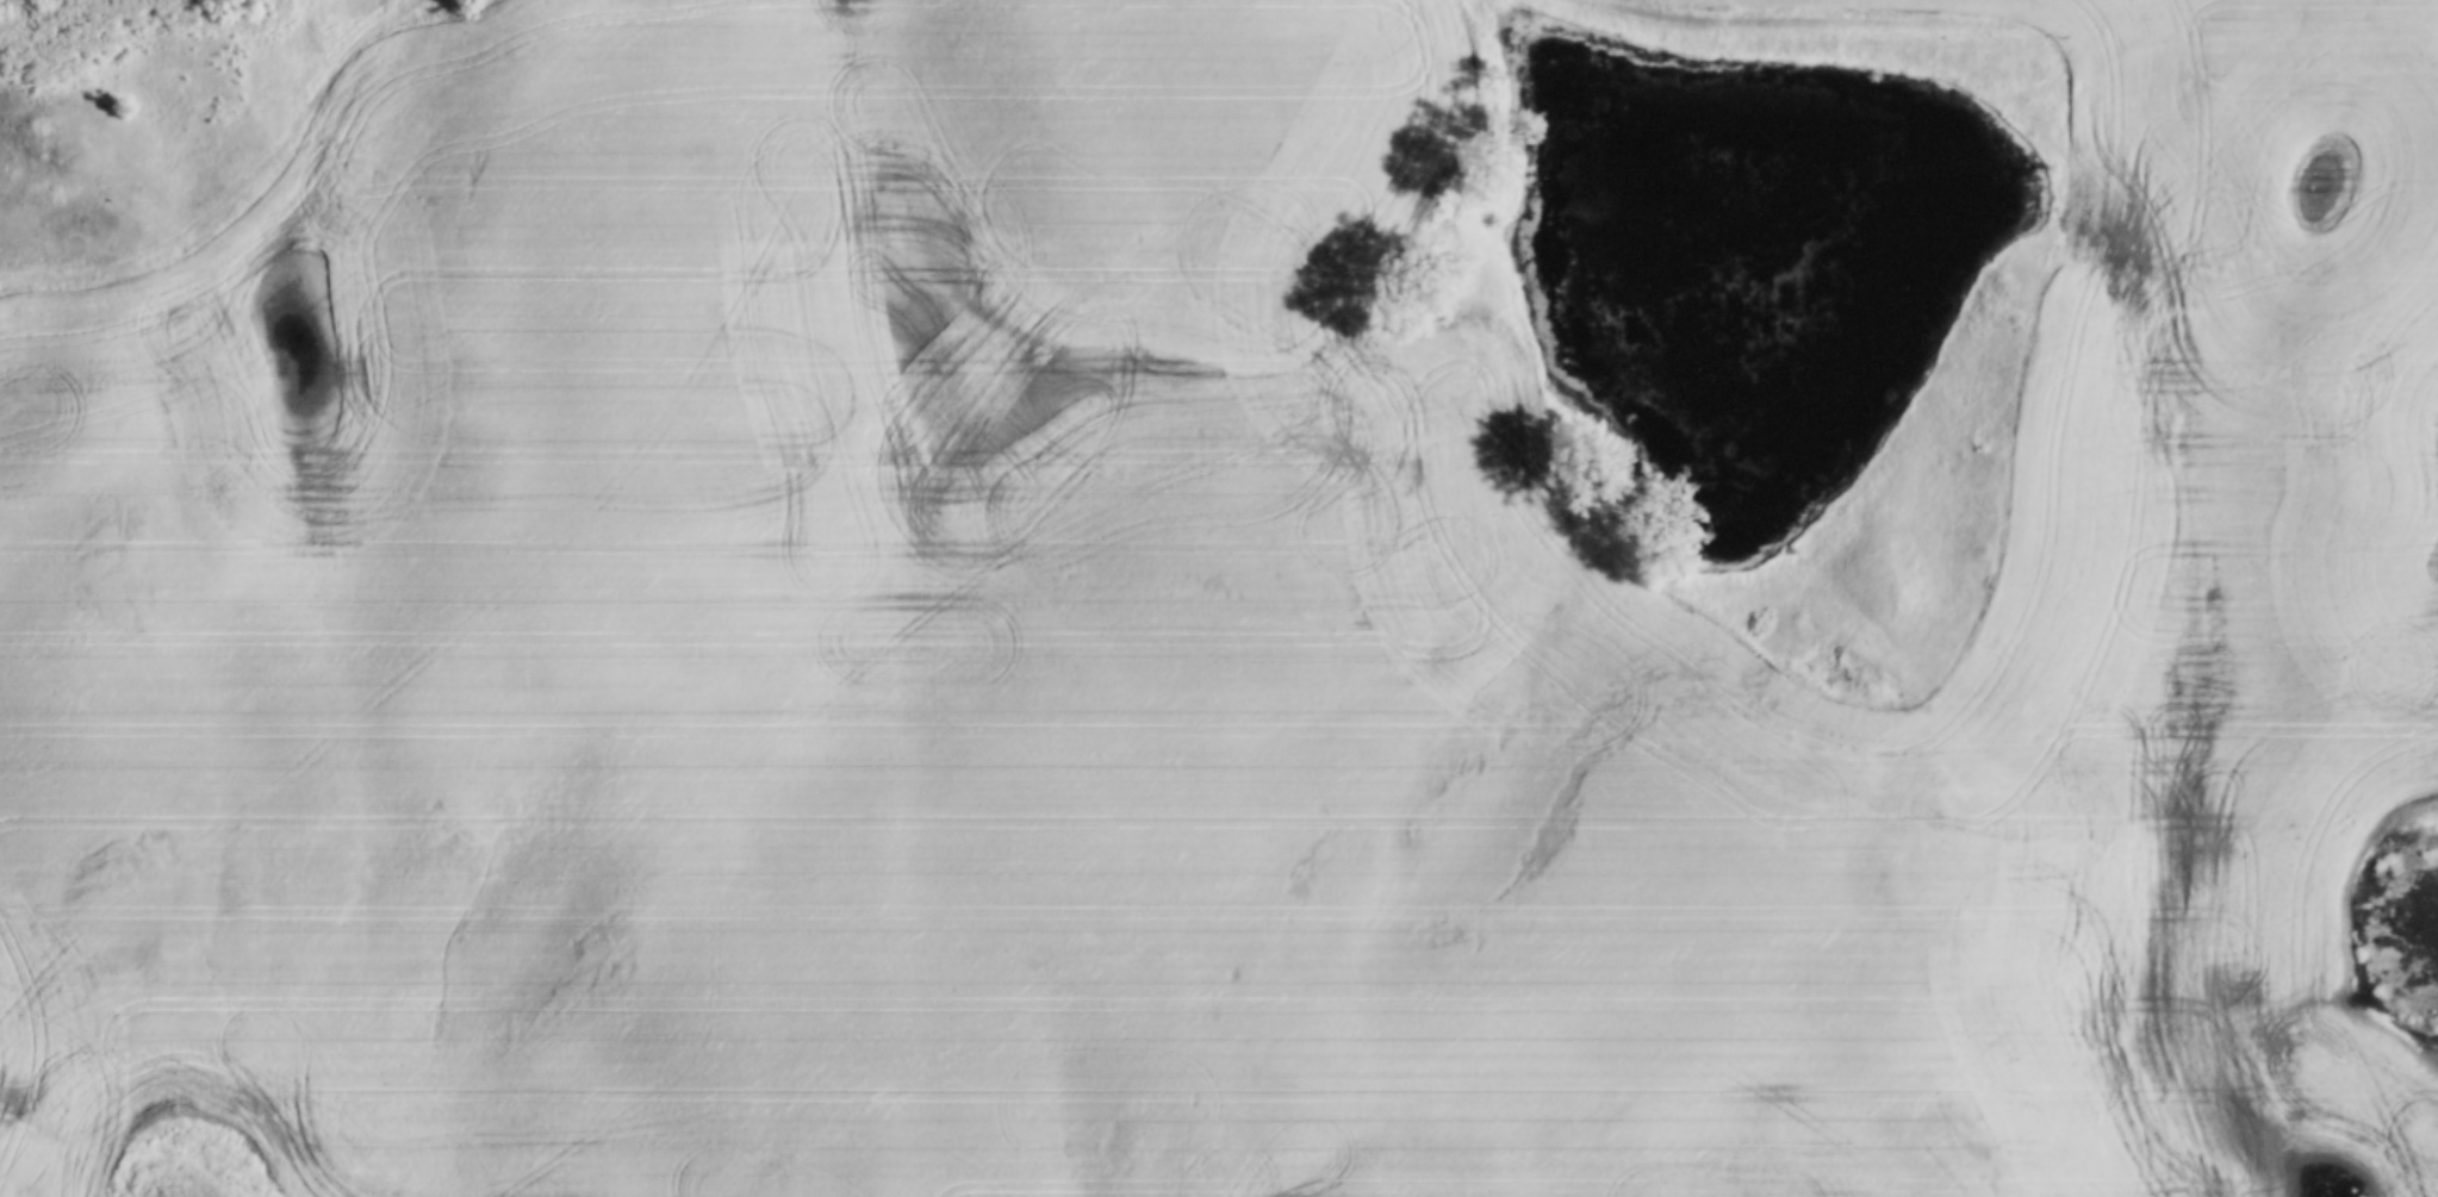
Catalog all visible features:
road: (2005, 23)
road: (254, 213)

